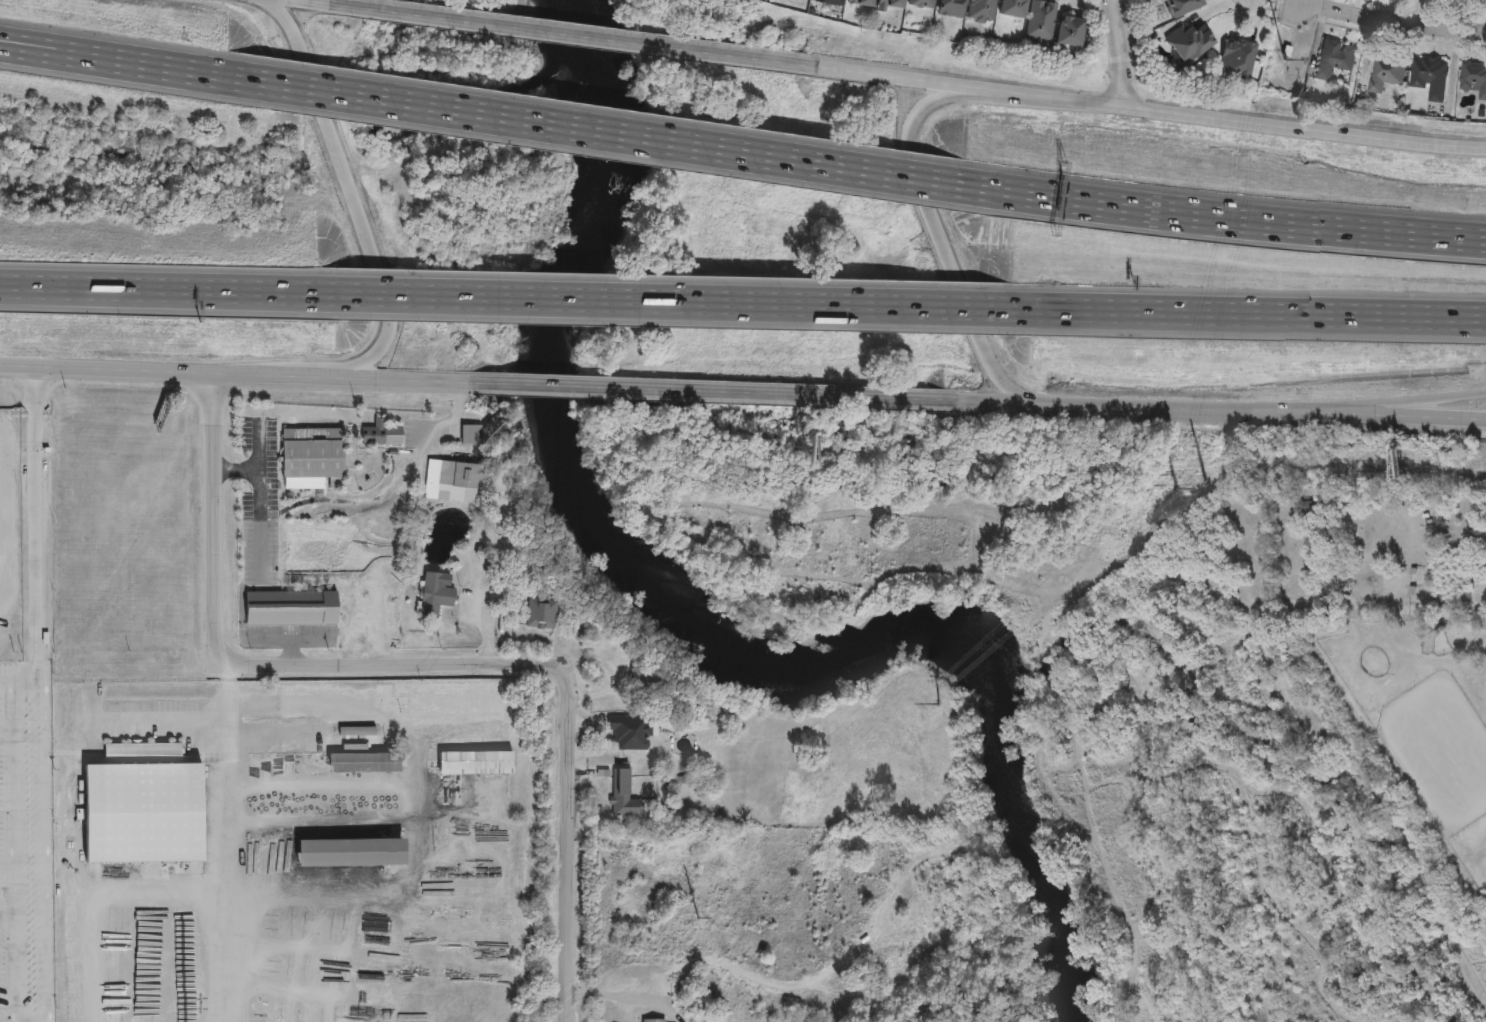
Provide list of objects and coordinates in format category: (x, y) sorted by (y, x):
building: (769, 0)
road: (322, 1)
building: (831, 2)
building: (862, 2)
building: (888, 4)
building: (942, 6)
building: (1012, 8)
building: (982, 11)
building: (1041, 19)
road: (1392, 19)
building: (1070, 30)
road: (575, 34)
river: (576, 51)
road: (1127, 51)
road: (107, 52)
power tower: (1284, 62)
road: (106, 64)
road: (224, 76)
road: (1151, 106)
road: (620, 135)
road: (350, 185)
road: (927, 207)
road: (1246, 221)
road: (33, 282)
road: (33, 285)
road: (194, 289)
road: (668, 301)
road: (1250, 313)
road: (233, 371)
road: (722, 390)
road: (1419, 399)
road: (1232, 403)
road: (453, 414)
building: (382, 432)
building: (471, 435)
building: (314, 453)
road: (235, 469)
building: (461, 474)
power tower: (1174, 491)
road: (258, 498)
road: (33, 521)
road: (214, 529)
building: (1485, 559)
building: (435, 594)
building: (542, 614)
river: (702, 628)
road: (288, 638)
road: (291, 651)
building: (645, 675)
road: (22, 680)
road: (5, 681)
road: (40, 683)
road: (565, 688)
power tower: (938, 705)
road: (156, 720)
building: (633, 730)
building: (358, 731)
building: (364, 761)
building: (446, 761)
building: (623, 791)
building: (144, 804)
road: (228, 847)
road: (11, 851)
building: (351, 851)
road: (46, 854)
power tower: (698, 918)
road: (617, 994)
building: (654, 1019)
road: (30, 1021)

